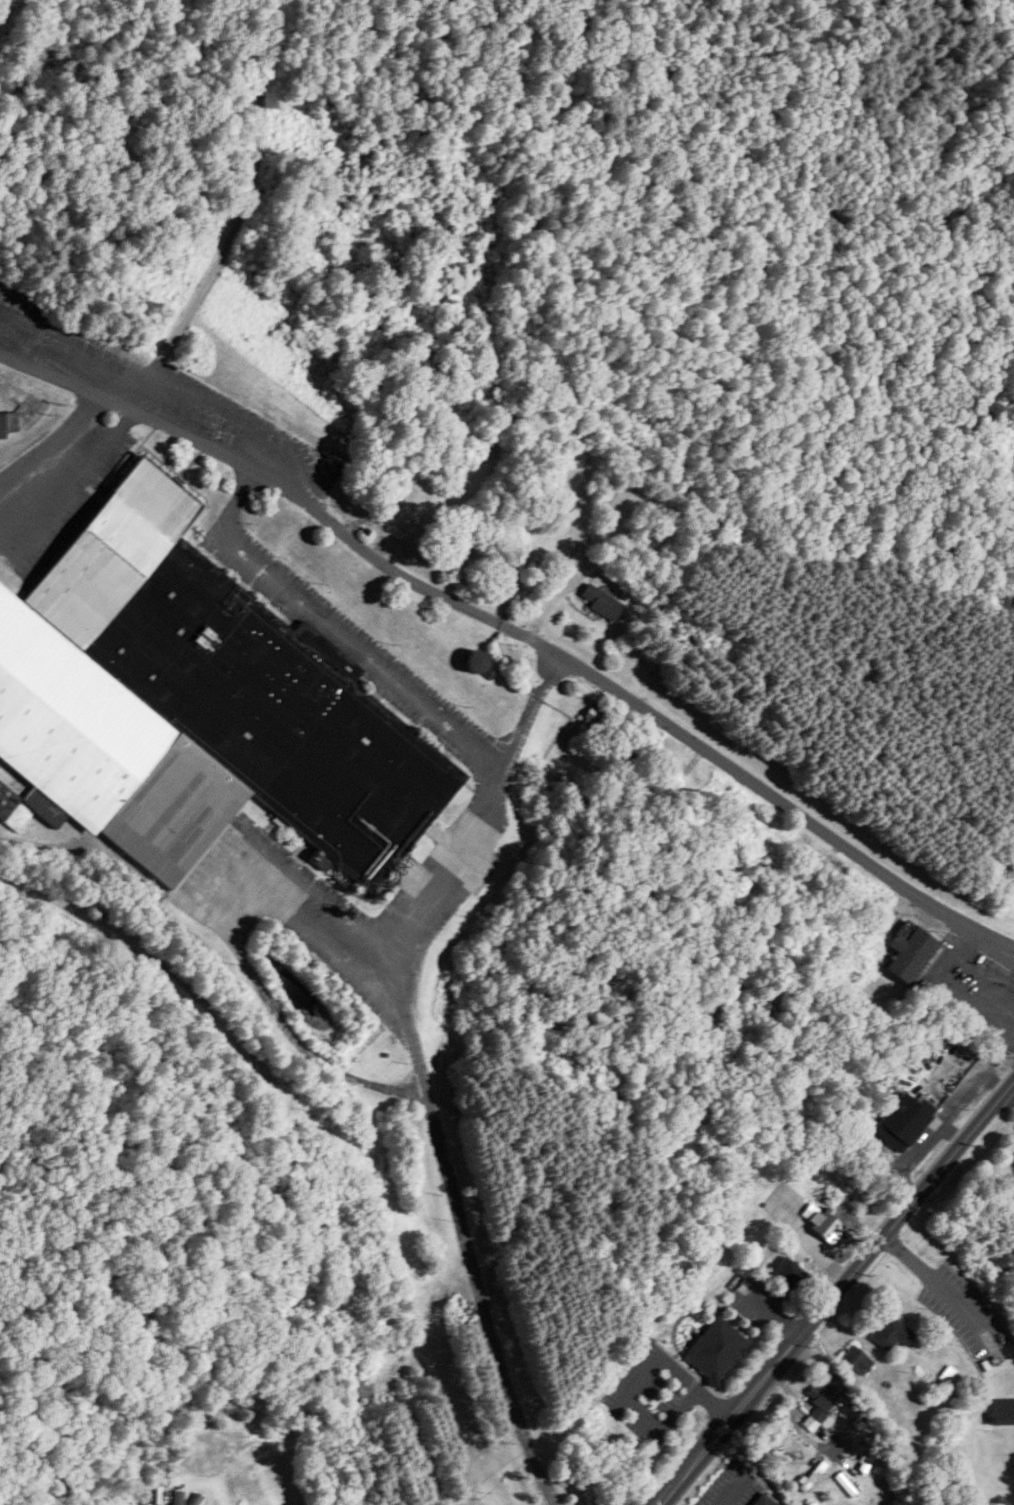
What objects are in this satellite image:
road: (237, 227)
building: (8, 424)
road: (46, 443)
building: (602, 603)
road: (519, 636)
building: (476, 661)
road: (378, 667)
building: (194, 706)
building: (596, 722)
building: (671, 773)
road: (442, 877)
building: (910, 951)
road: (238, 954)
road: (1013, 1084)
building: (907, 1117)
building: (822, 1222)
road: (473, 1257)
building: (791, 1275)
road: (936, 1280)
road: (826, 1288)
road: (835, 1293)
building: (456, 1318)
building: (892, 1334)
building: (716, 1350)
building: (858, 1361)
building: (951, 1377)
road: (638, 1378)
building: (823, 1405)
building: (1003, 1412)
road: (793, 1419)
road: (726, 1497)
building: (177, 1498)
building: (775, 1502)

